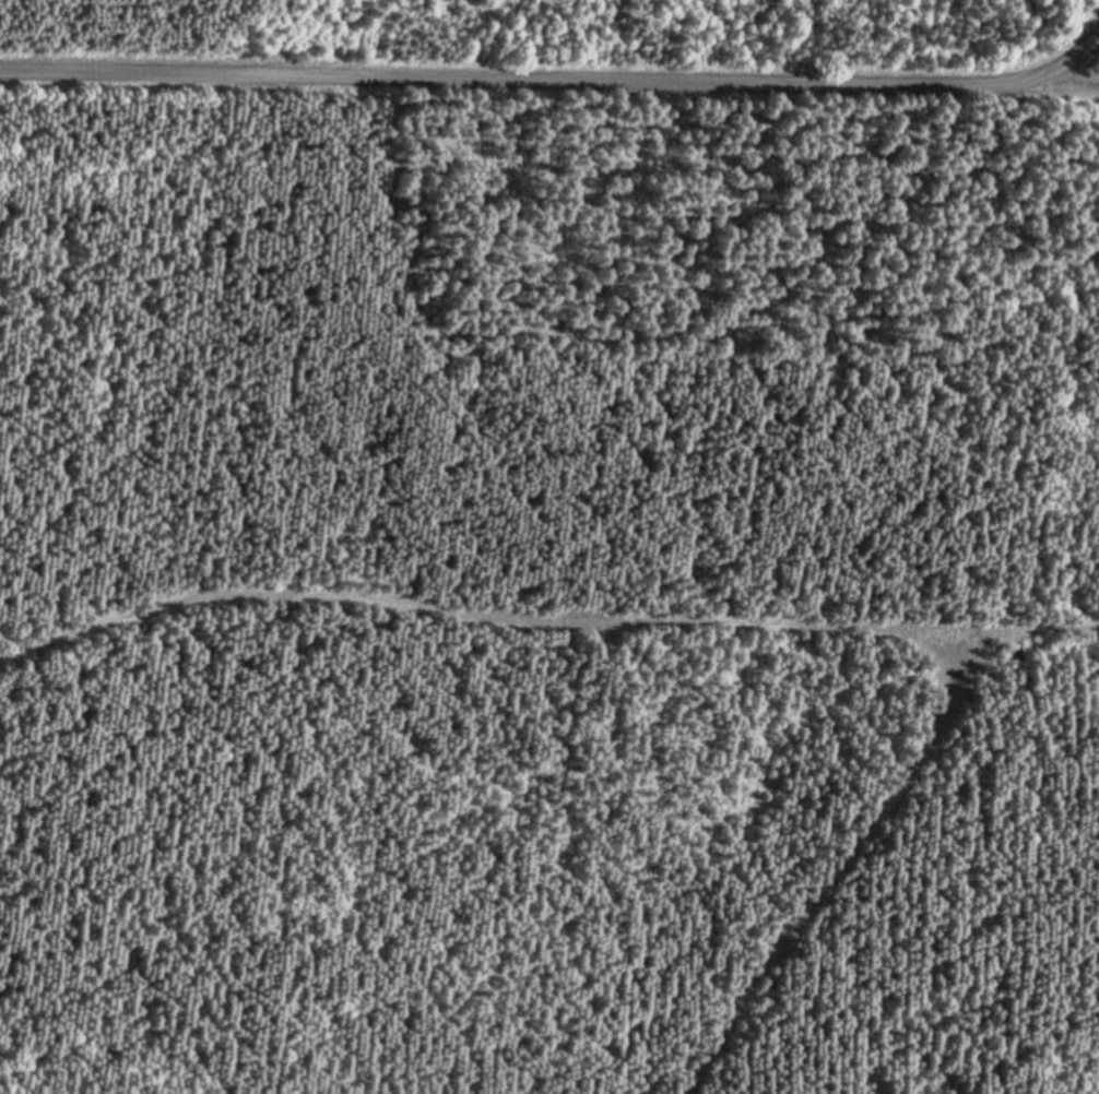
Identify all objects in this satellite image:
park: (555, 34)
road: (1082, 76)
road: (554, 83)

